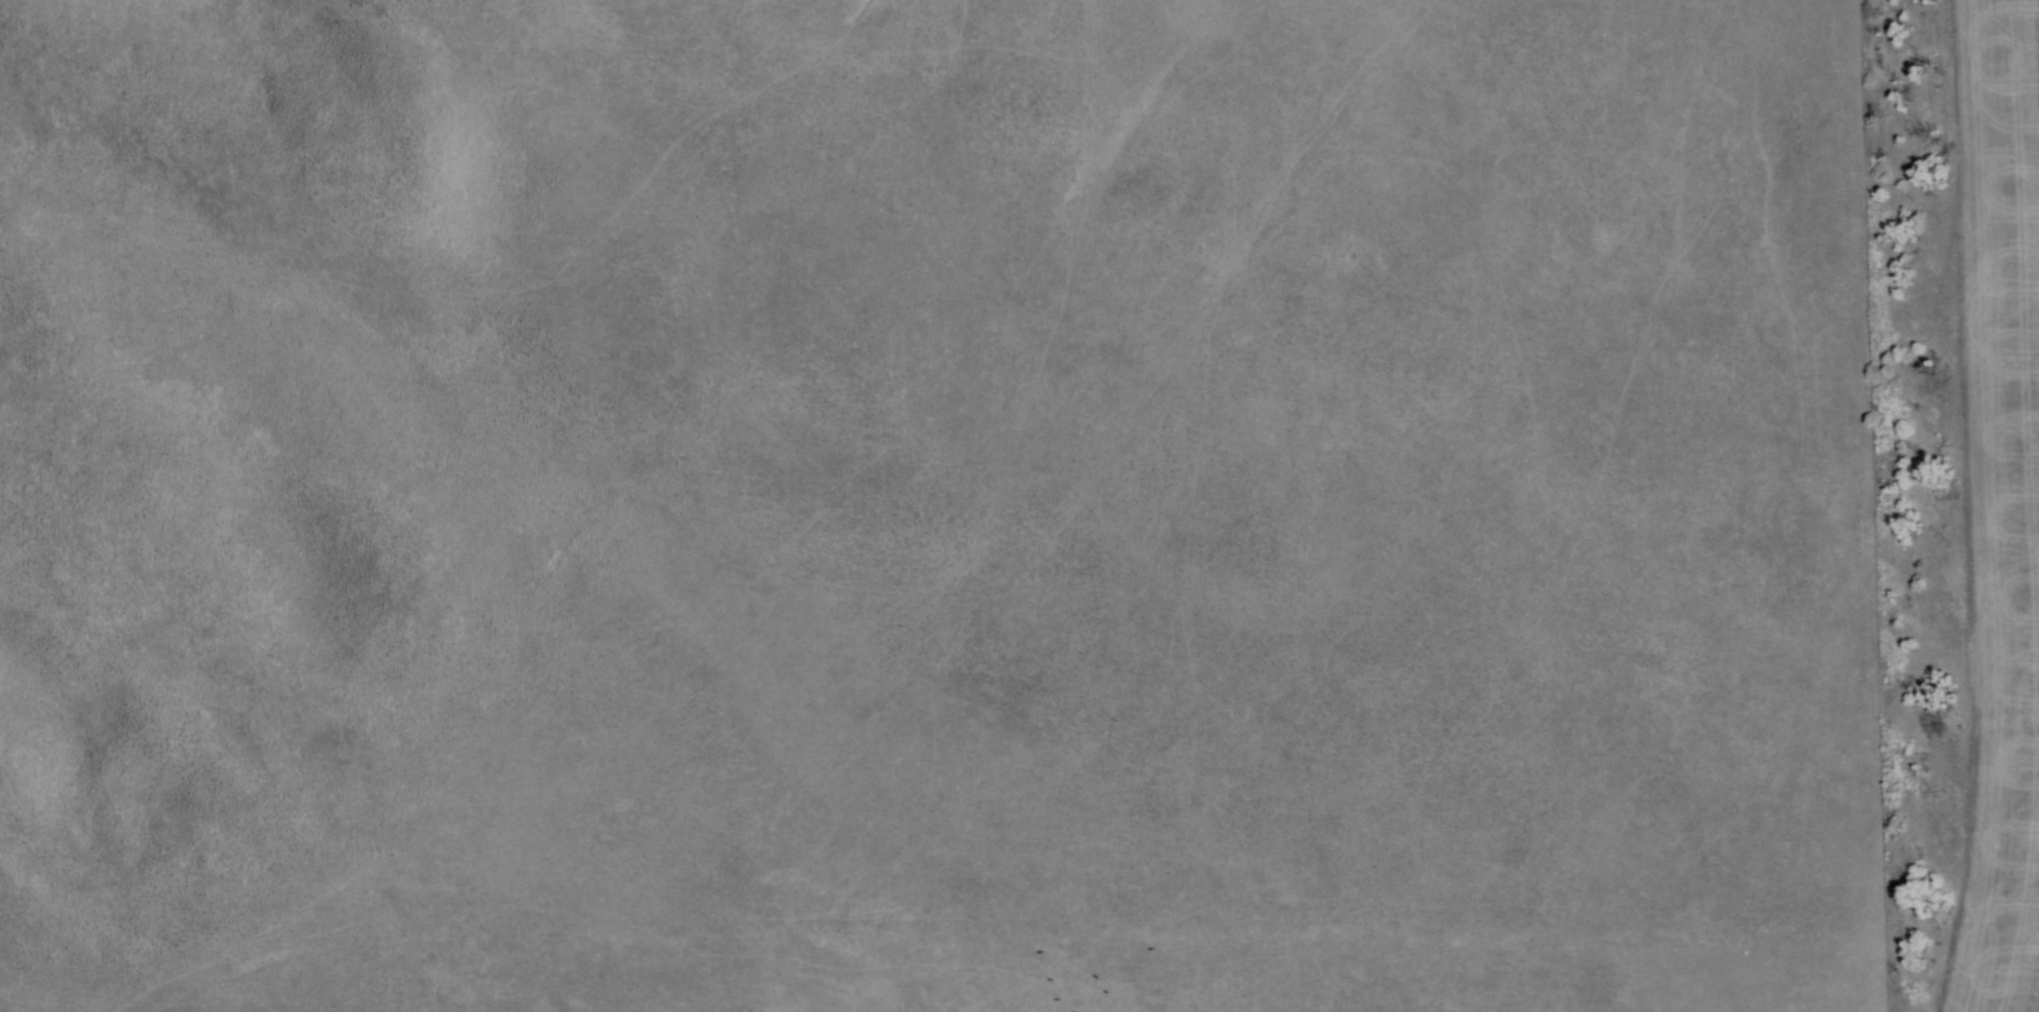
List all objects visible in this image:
crop: (1992, 503)

